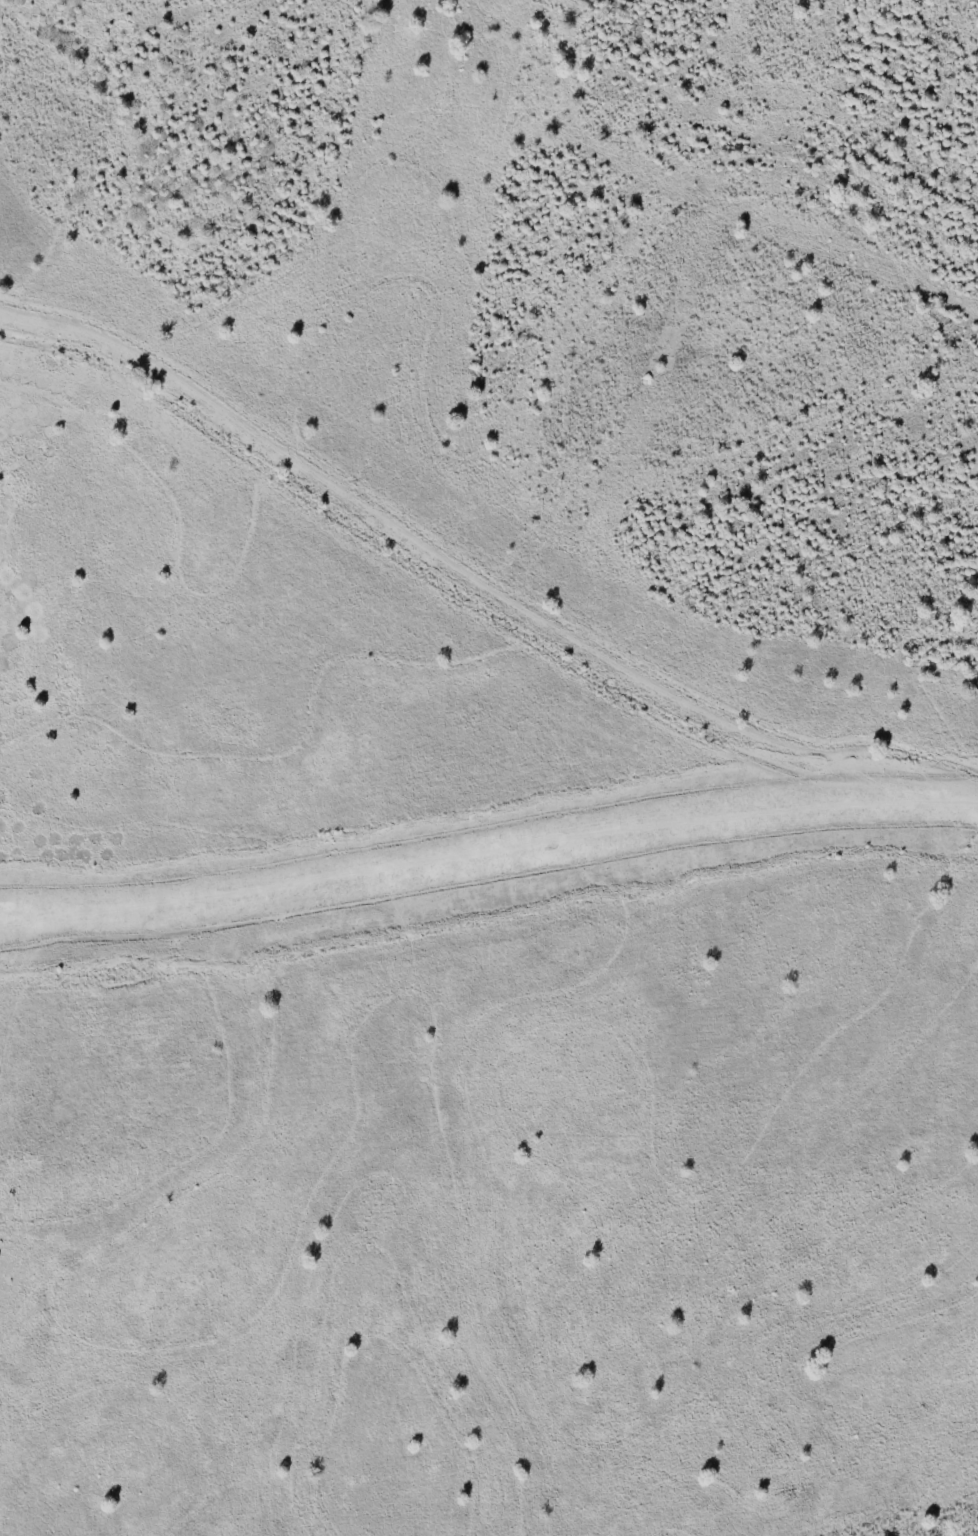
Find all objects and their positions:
railway: (490, 94)
road: (489, 860)

